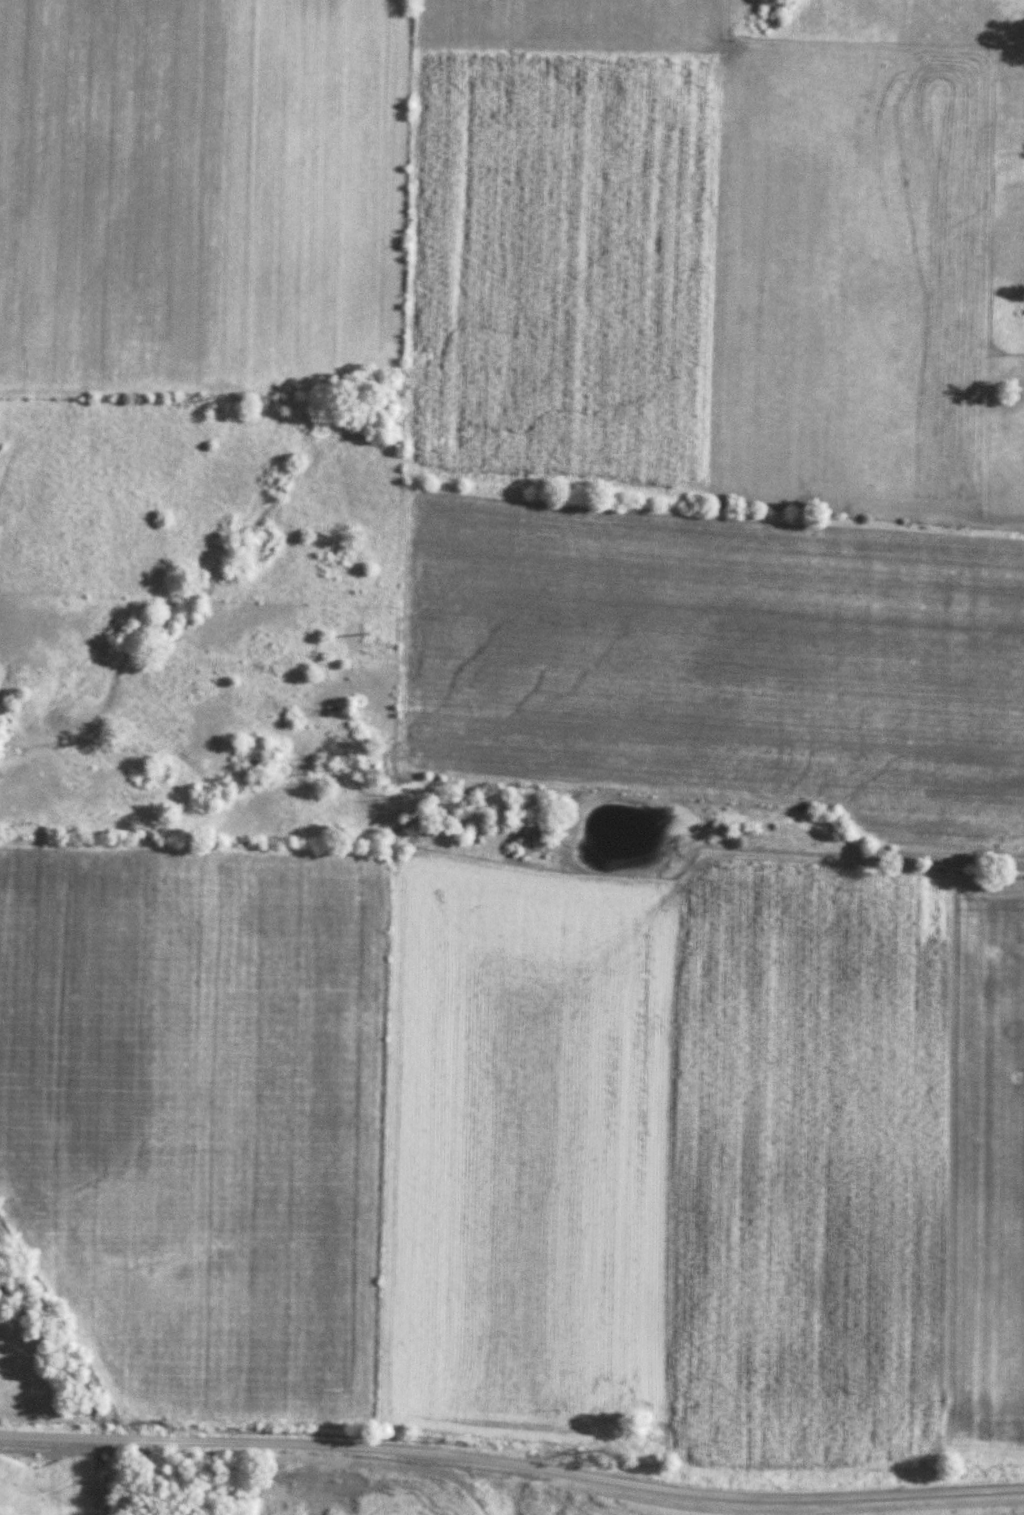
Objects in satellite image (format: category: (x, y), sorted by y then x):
road: (512, 1463)

